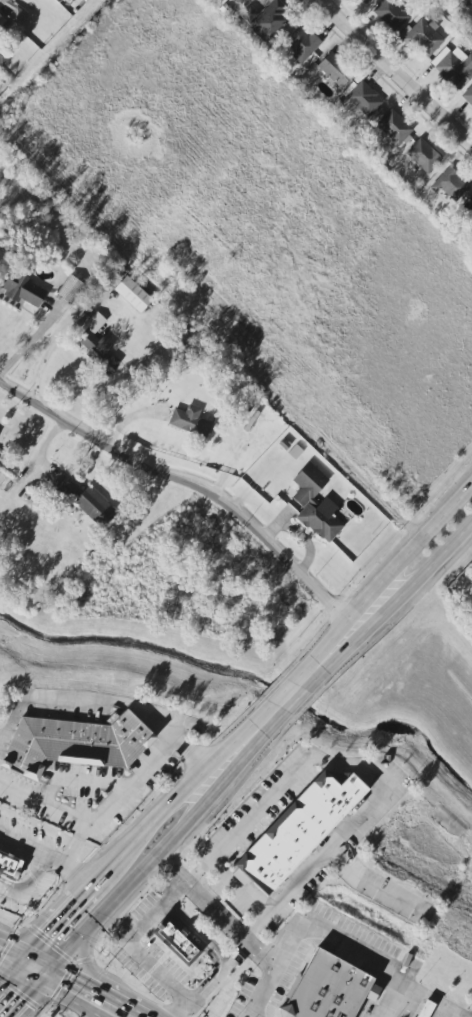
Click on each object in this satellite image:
building: (366, 1)
building: (467, 3)
building: (14, 11)
building: (390, 14)
building: (265, 20)
building: (471, 22)
building: (4, 27)
building: (422, 38)
building: (302, 44)
building: (3, 55)
building: (452, 66)
building: (334, 69)
road: (397, 71)
building: (468, 95)
building: (361, 99)
building: (392, 128)
building: (423, 155)
building: (450, 184)
building: (468, 211)
building: (70, 289)
building: (22, 290)
building: (132, 293)
building: (94, 321)
building: (251, 420)
building: (190, 421)
building: (283, 444)
building: (295, 452)
building: (64, 486)
road: (198, 488)
building: (315, 504)
building: (94, 506)
road: (390, 578)
road: (397, 605)
road: (281, 694)
road: (297, 709)
building: (82, 743)
road: (371, 771)
road: (130, 785)
road: (42, 807)
building: (308, 831)
road: (25, 842)
road: (136, 844)
road: (158, 857)
road: (43, 862)
building: (12, 863)
road: (235, 890)
road: (216, 911)
building: (181, 939)
road: (350, 947)
road: (135, 949)
road: (208, 949)
road: (10, 962)
traffic signals: (20, 967)
road: (273, 968)
road: (32, 973)
road: (10, 977)
traffic signals: (44, 979)
road: (397, 987)
building: (333, 989)
road: (81, 997)
road: (25, 998)
road: (405, 1004)
building: (425, 1009)
road: (96, 1012)
road: (423, 1013)
gas station: (45, 1015)
road: (430, 1016)

